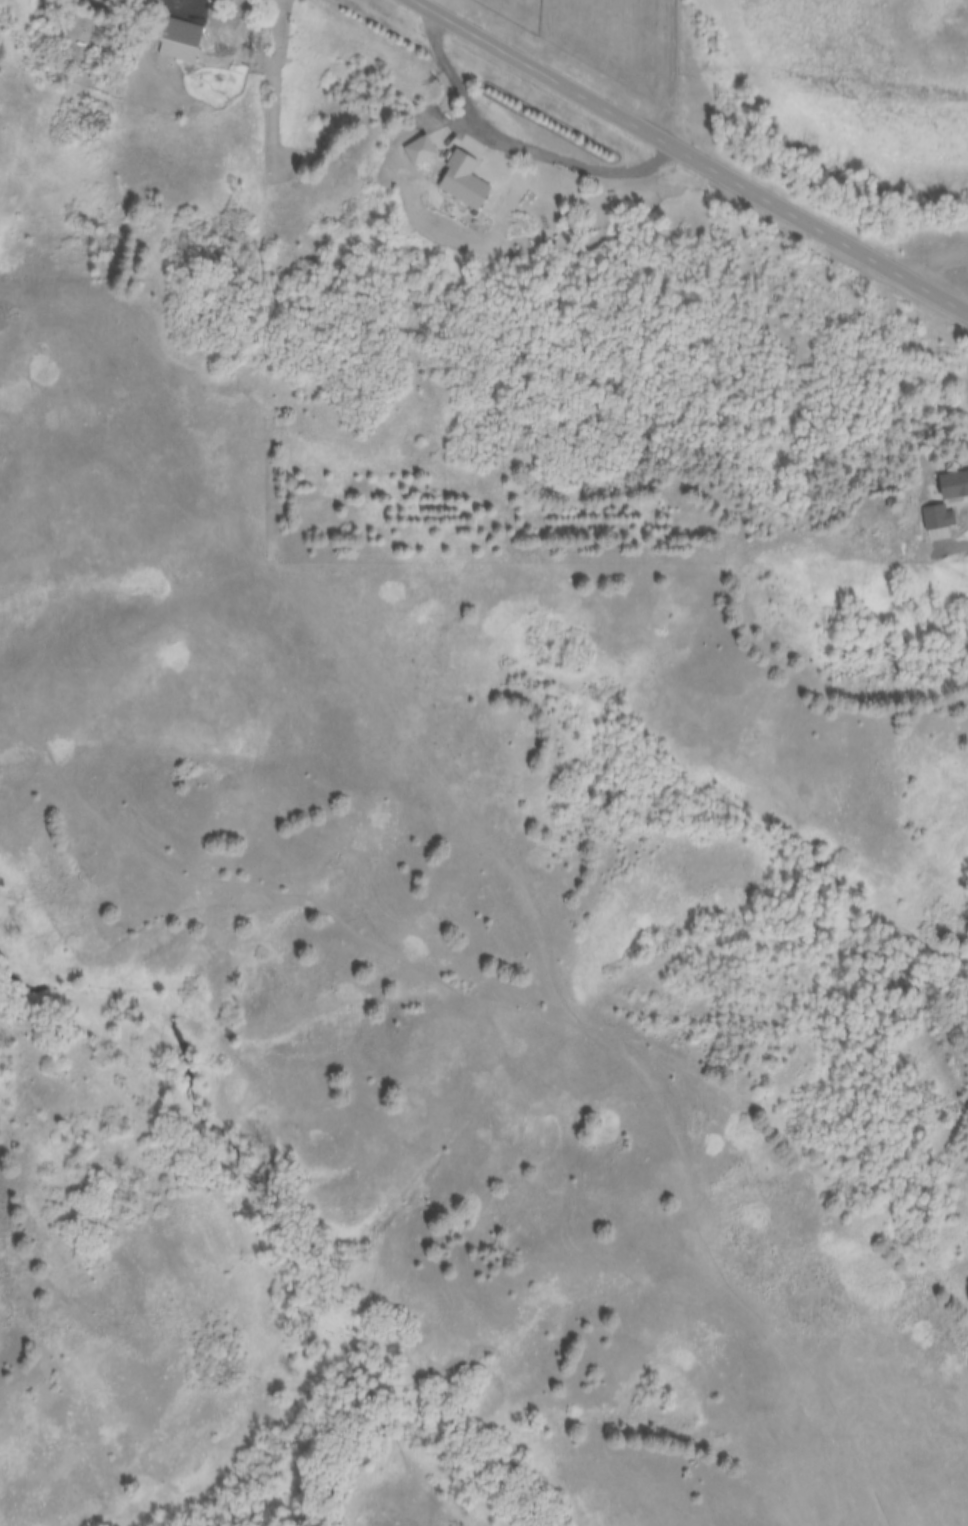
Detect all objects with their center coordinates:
building: (181, 33)
road: (675, 67)
road: (694, 152)

